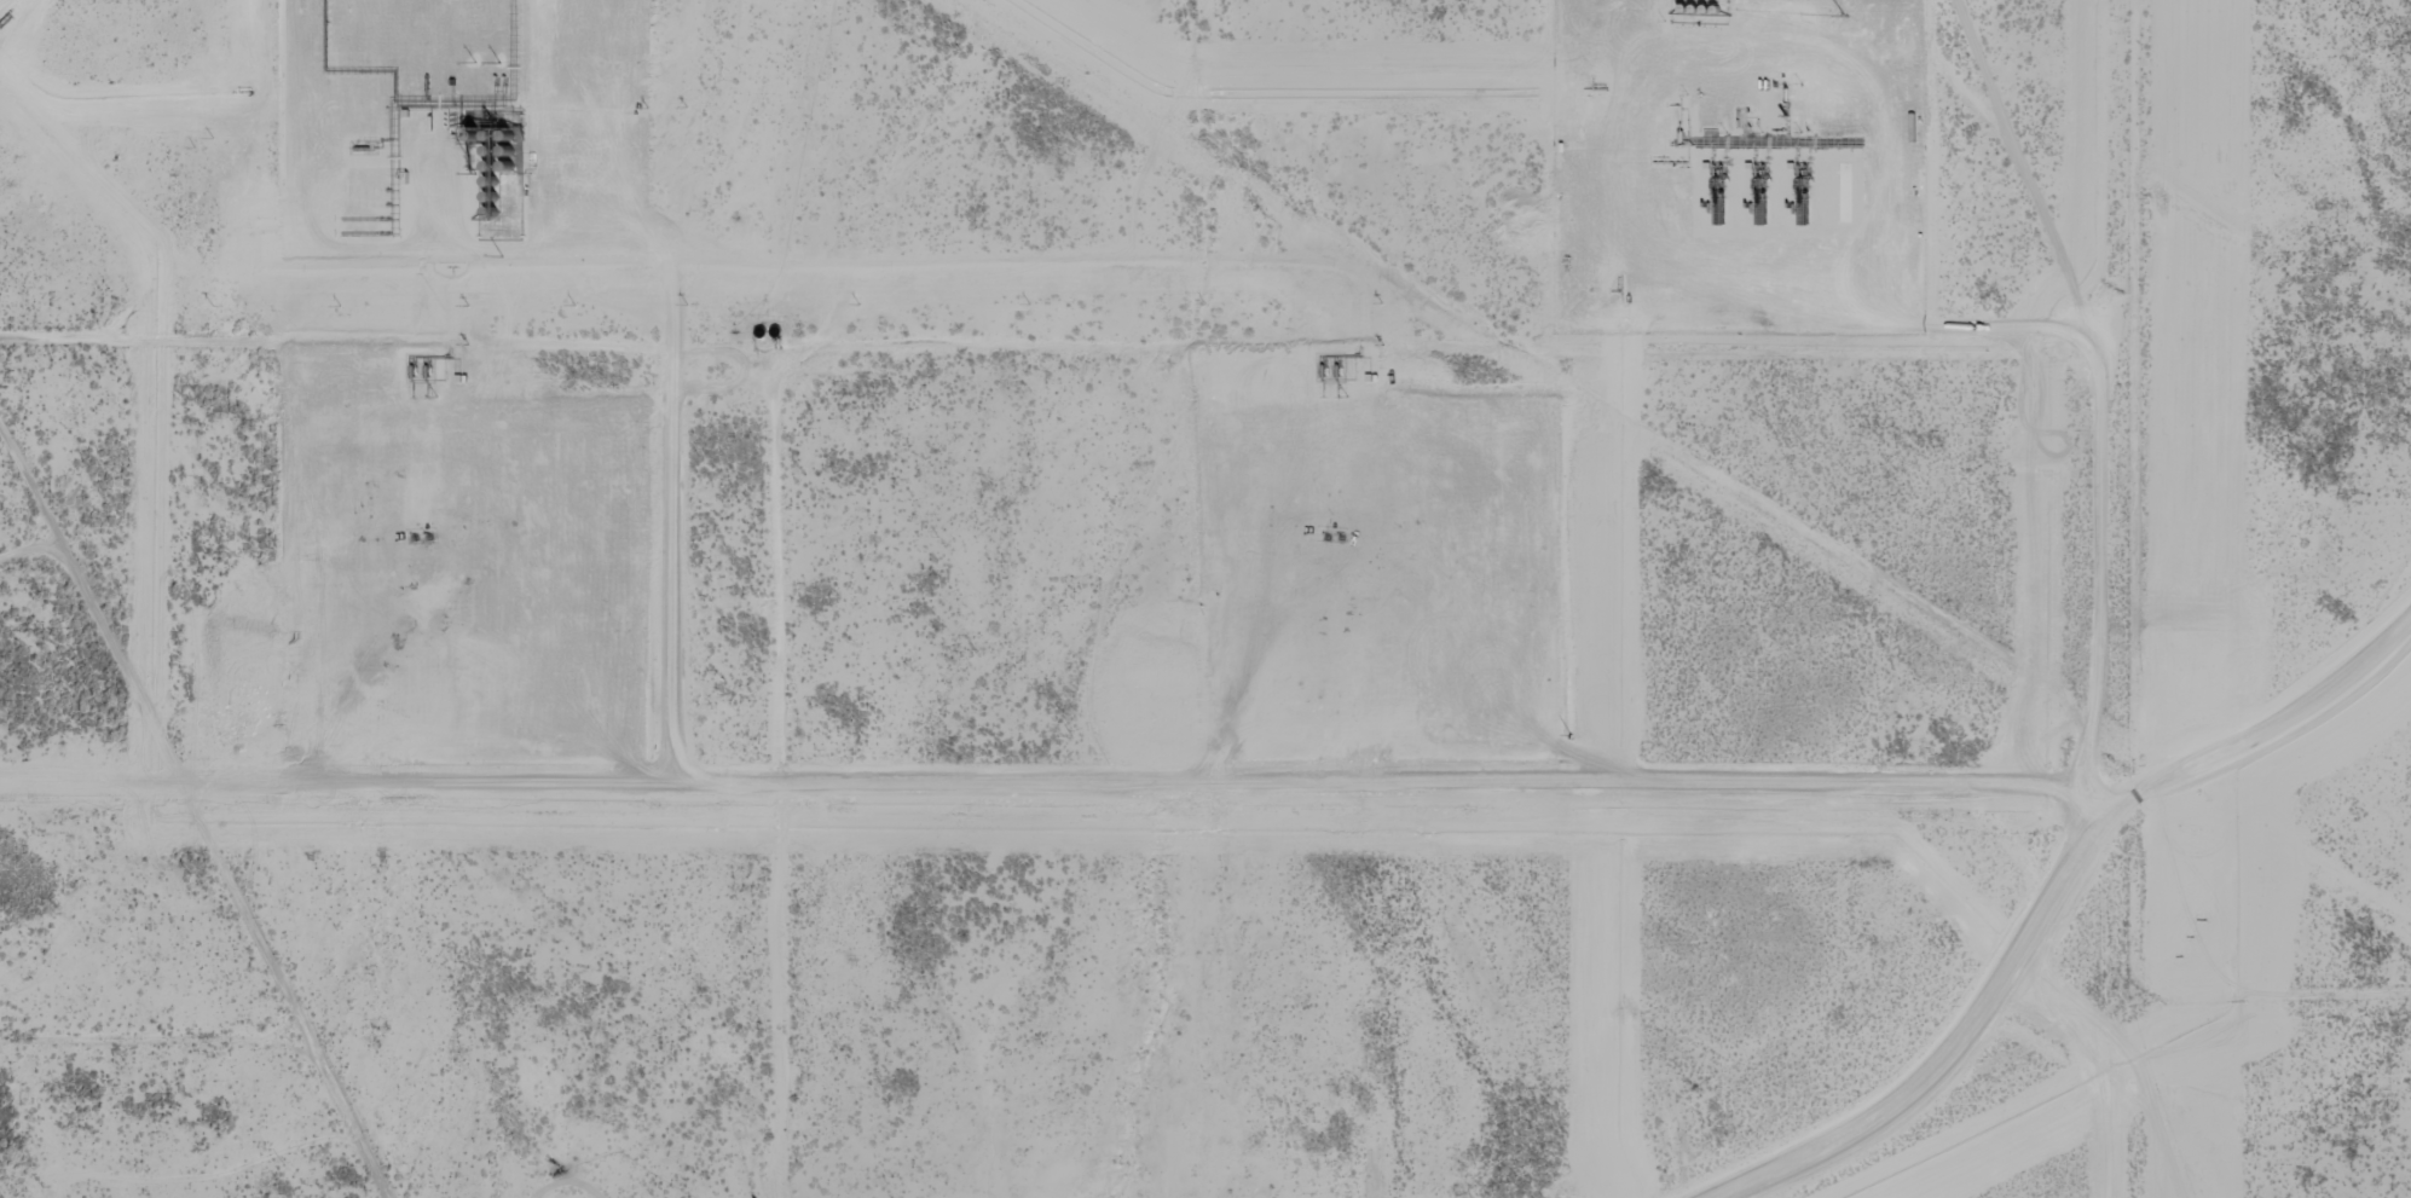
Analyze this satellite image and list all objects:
road: (1028, 367)
road: (2092, 661)
road: (2263, 716)
road: (186, 820)

